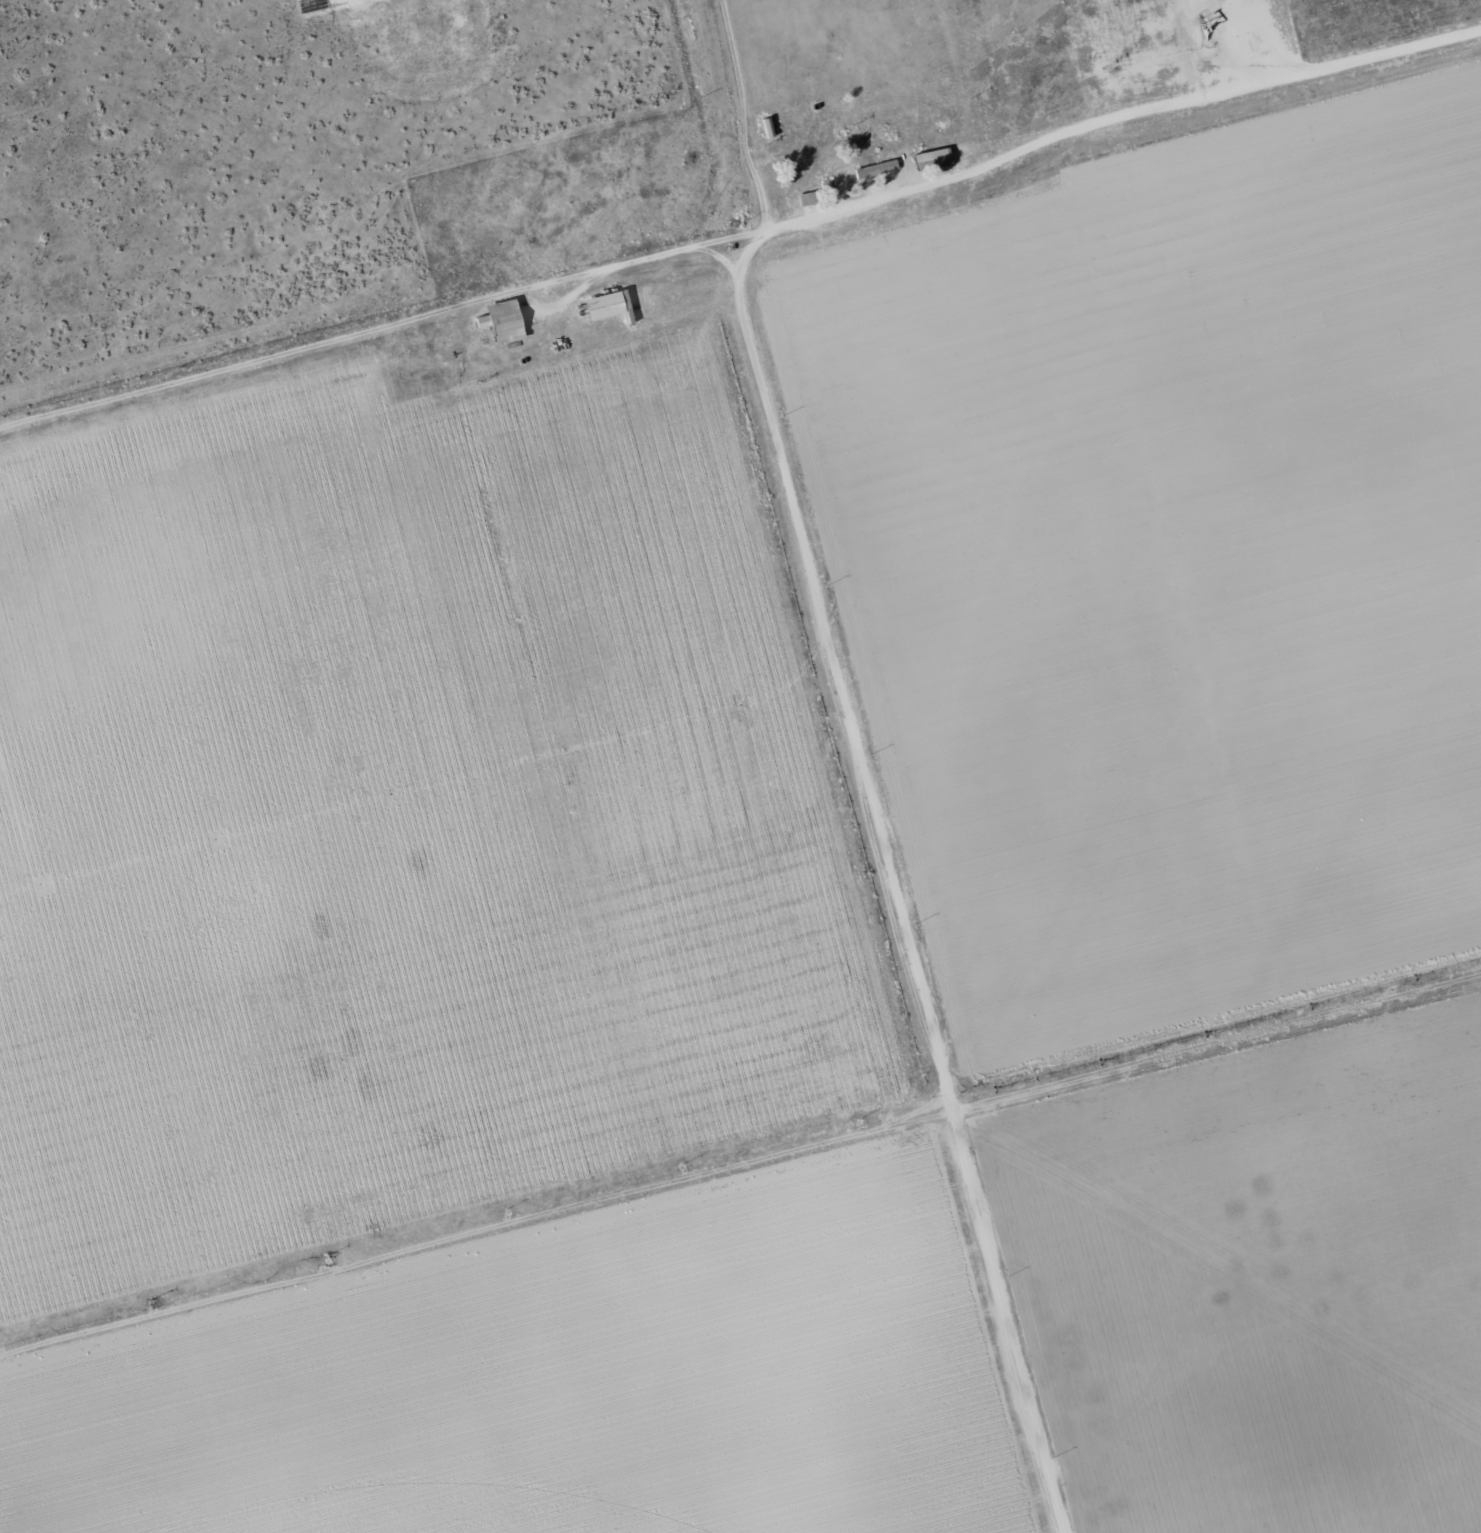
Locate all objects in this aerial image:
building: (600, 305)

